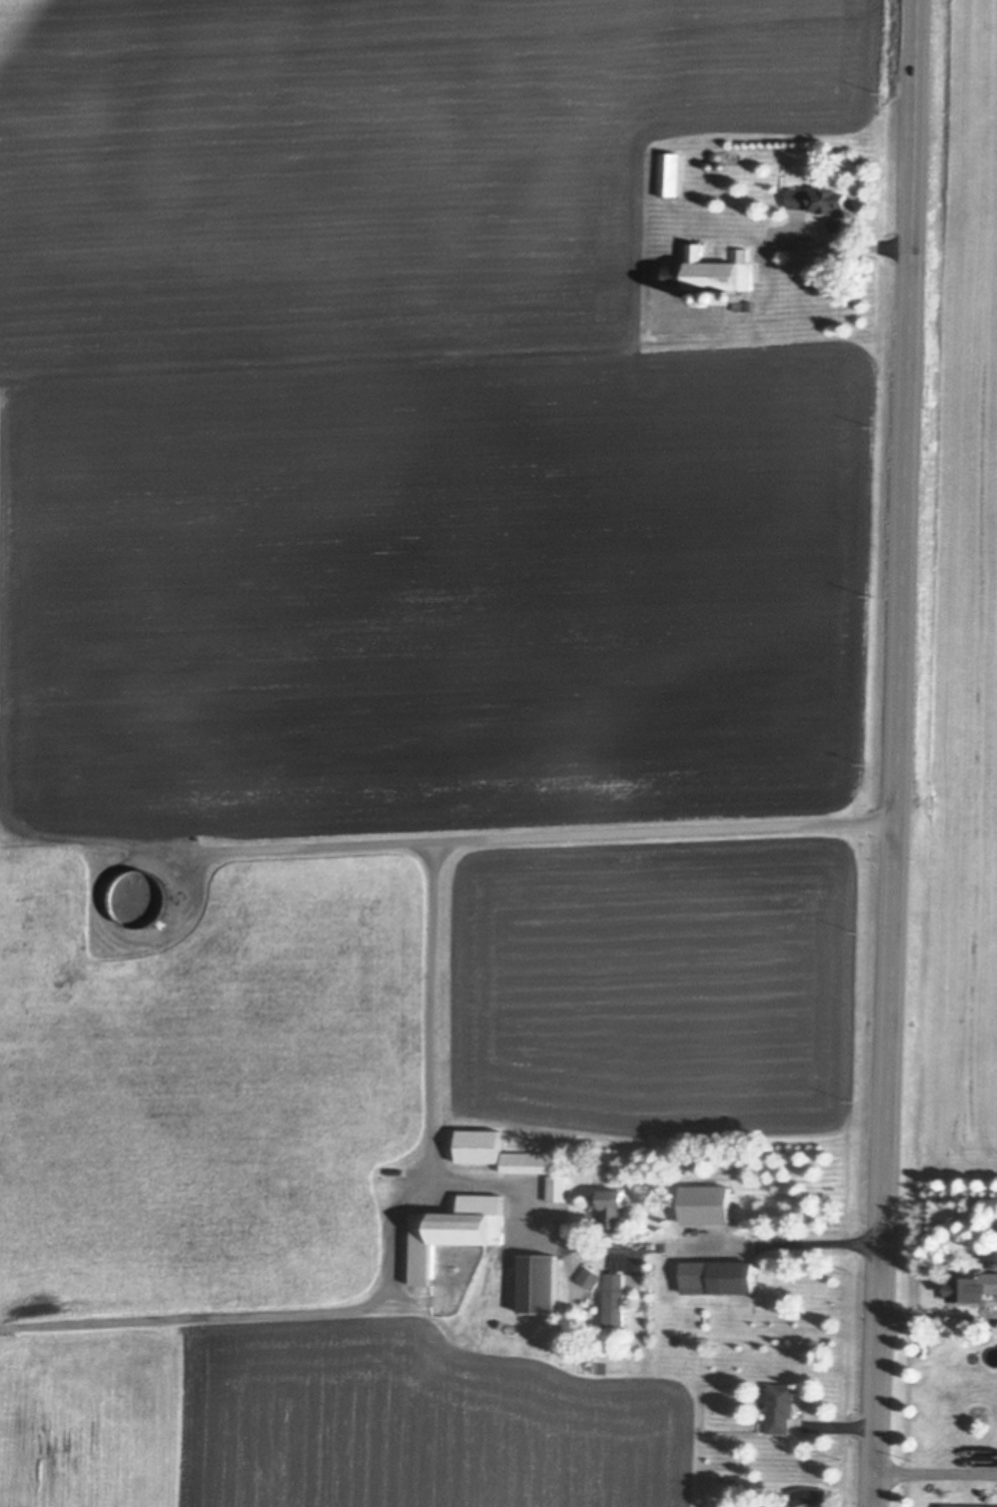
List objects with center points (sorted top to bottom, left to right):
building: (716, 156)
building: (710, 166)
building: (722, 166)
building: (668, 175)
building: (819, 207)
road: (843, 245)
building: (713, 278)
crop: (957, 630)
crop: (386, 693)
road: (896, 753)
road: (547, 837)
building: (136, 899)
road: (437, 1011)
building: (481, 1141)
building: (530, 1158)
building: (614, 1160)
building: (558, 1183)
building: (446, 1198)
building: (615, 1204)
building: (700, 1204)
building: (453, 1226)
road: (750, 1249)
building: (719, 1273)
building: (591, 1274)
building: (539, 1278)
building: (972, 1283)
building: (615, 1295)
road: (938, 1314)
building: (511, 1324)
building: (780, 1405)
road: (936, 1469)
building: (808, 1493)
building: (780, 1505)
building: (969, 1505)

